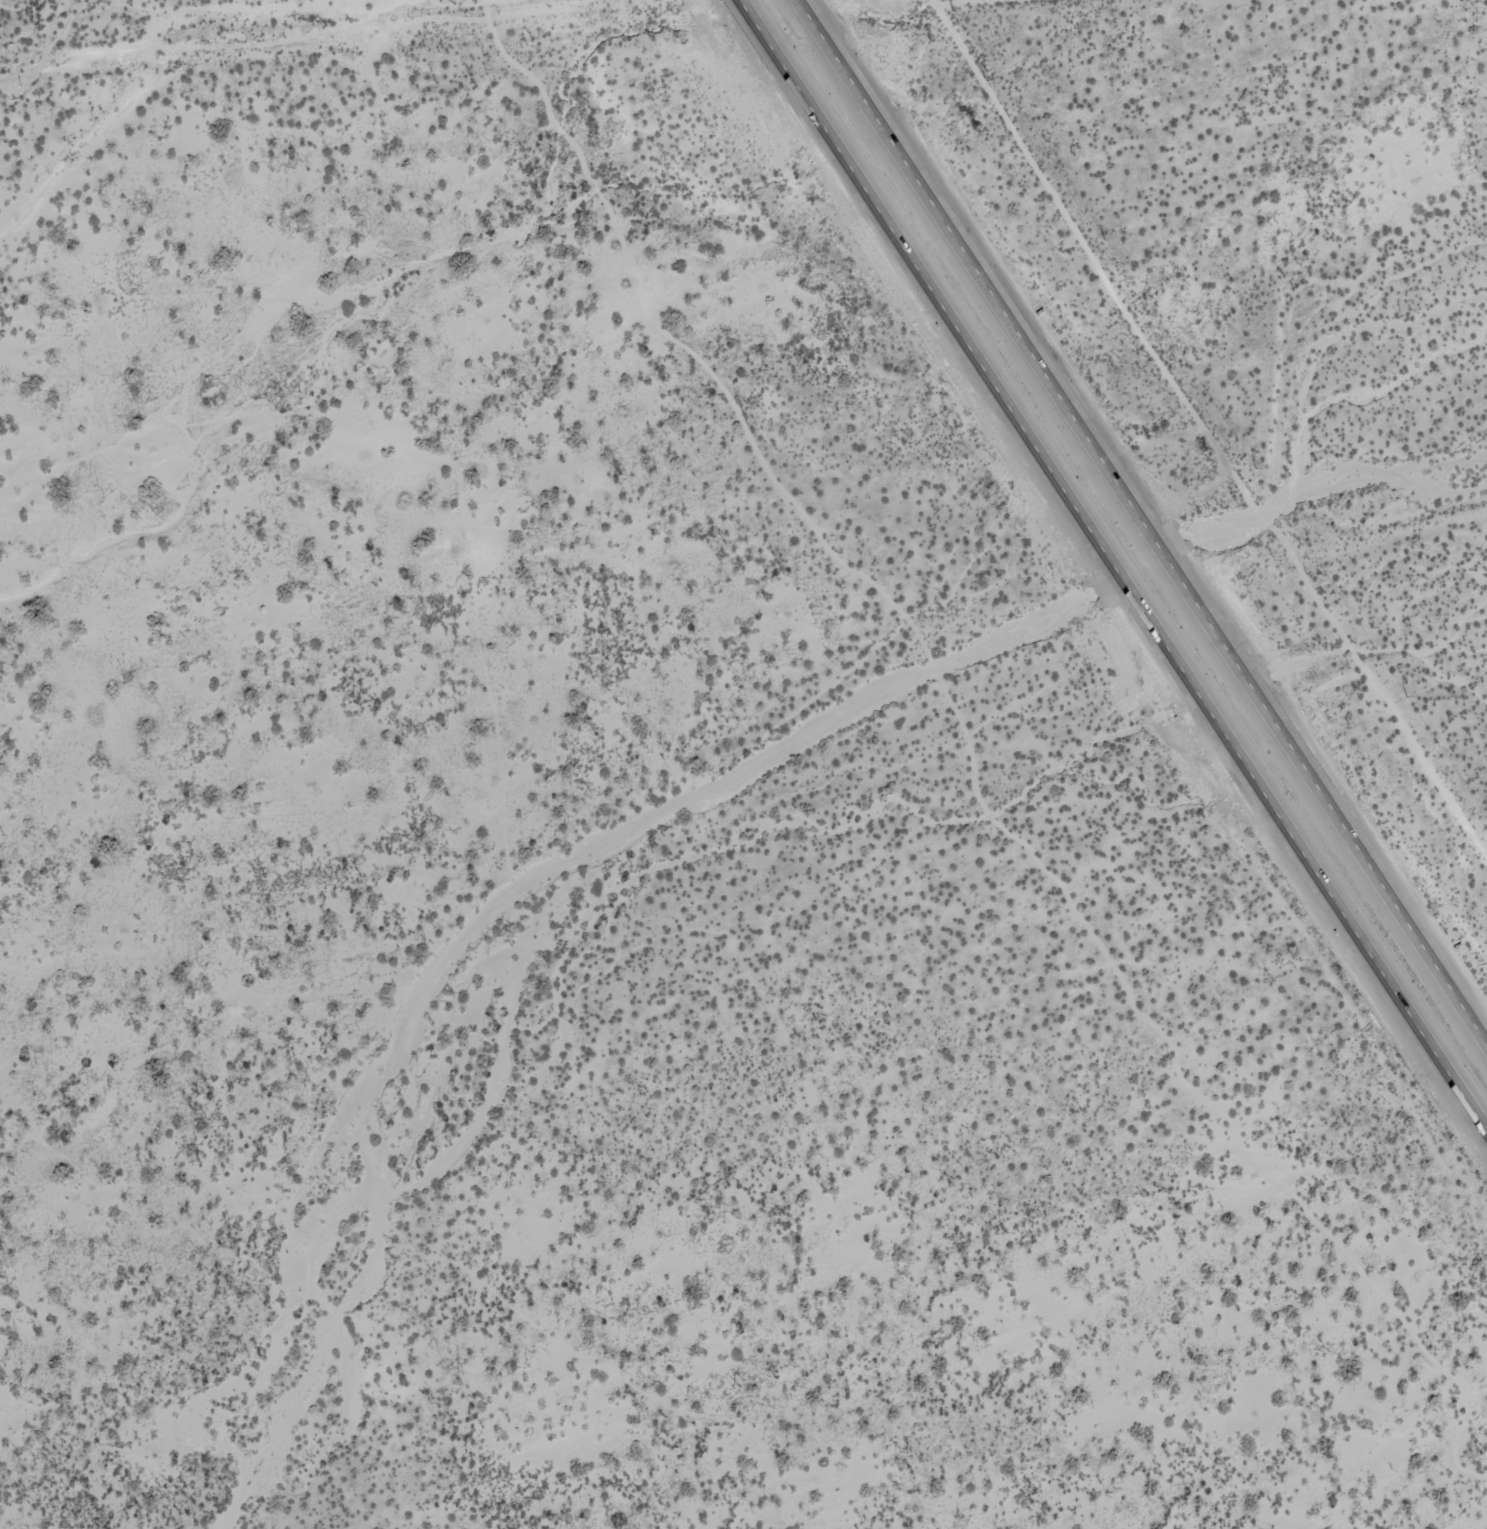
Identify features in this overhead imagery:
road: (934, 3)
road: (972, 3)
road: (293, 31)
road: (117, 81)
road: (1207, 426)
road: (1138, 525)
road: (1111, 567)
road: (677, 732)
road: (281, 1497)

